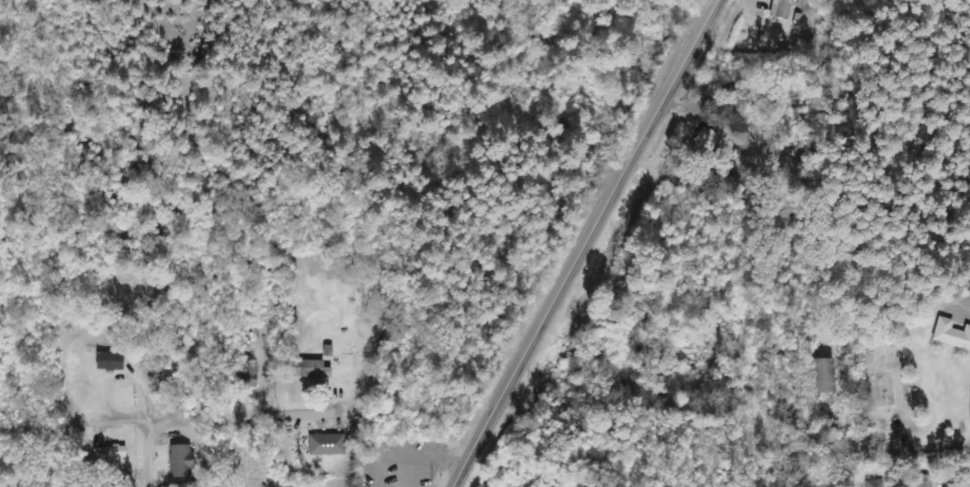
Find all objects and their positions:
building: (780, 8)
building: (716, 136)
road: (582, 243)
building: (949, 335)
building: (111, 361)
building: (310, 368)
road: (936, 371)
building: (819, 375)
building: (249, 377)
road: (662, 392)
road: (232, 417)
road: (892, 430)
building: (329, 443)
road: (142, 447)
building: (112, 454)
building: (183, 459)
building: (876, 483)
building: (816, 484)

